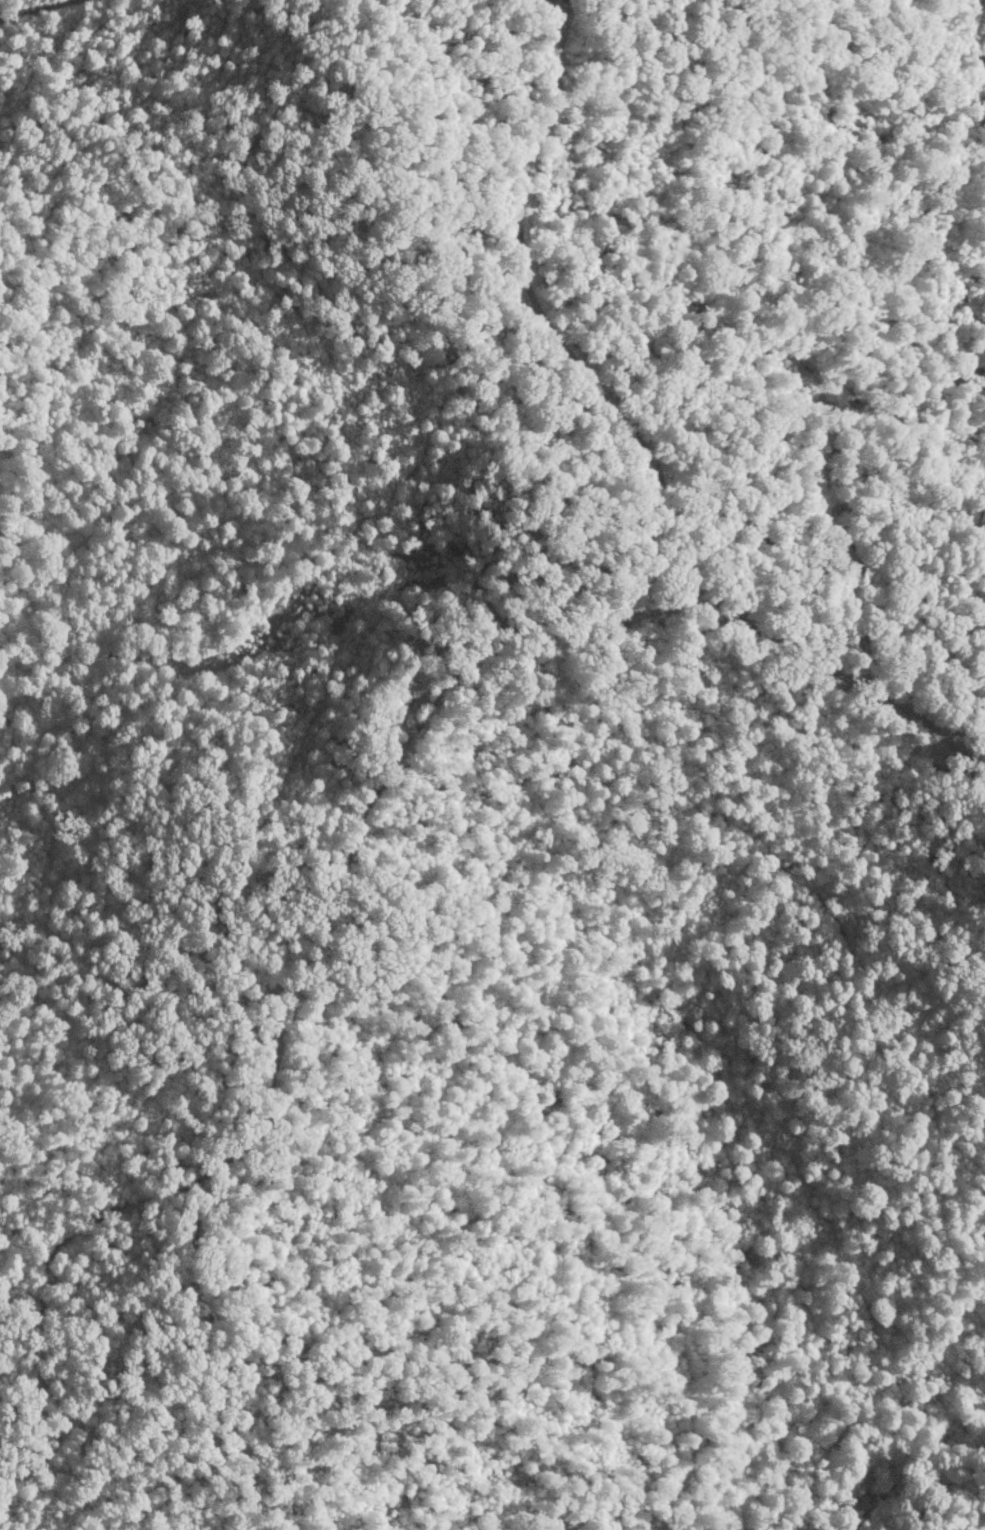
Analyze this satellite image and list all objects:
road: (555, 1211)

